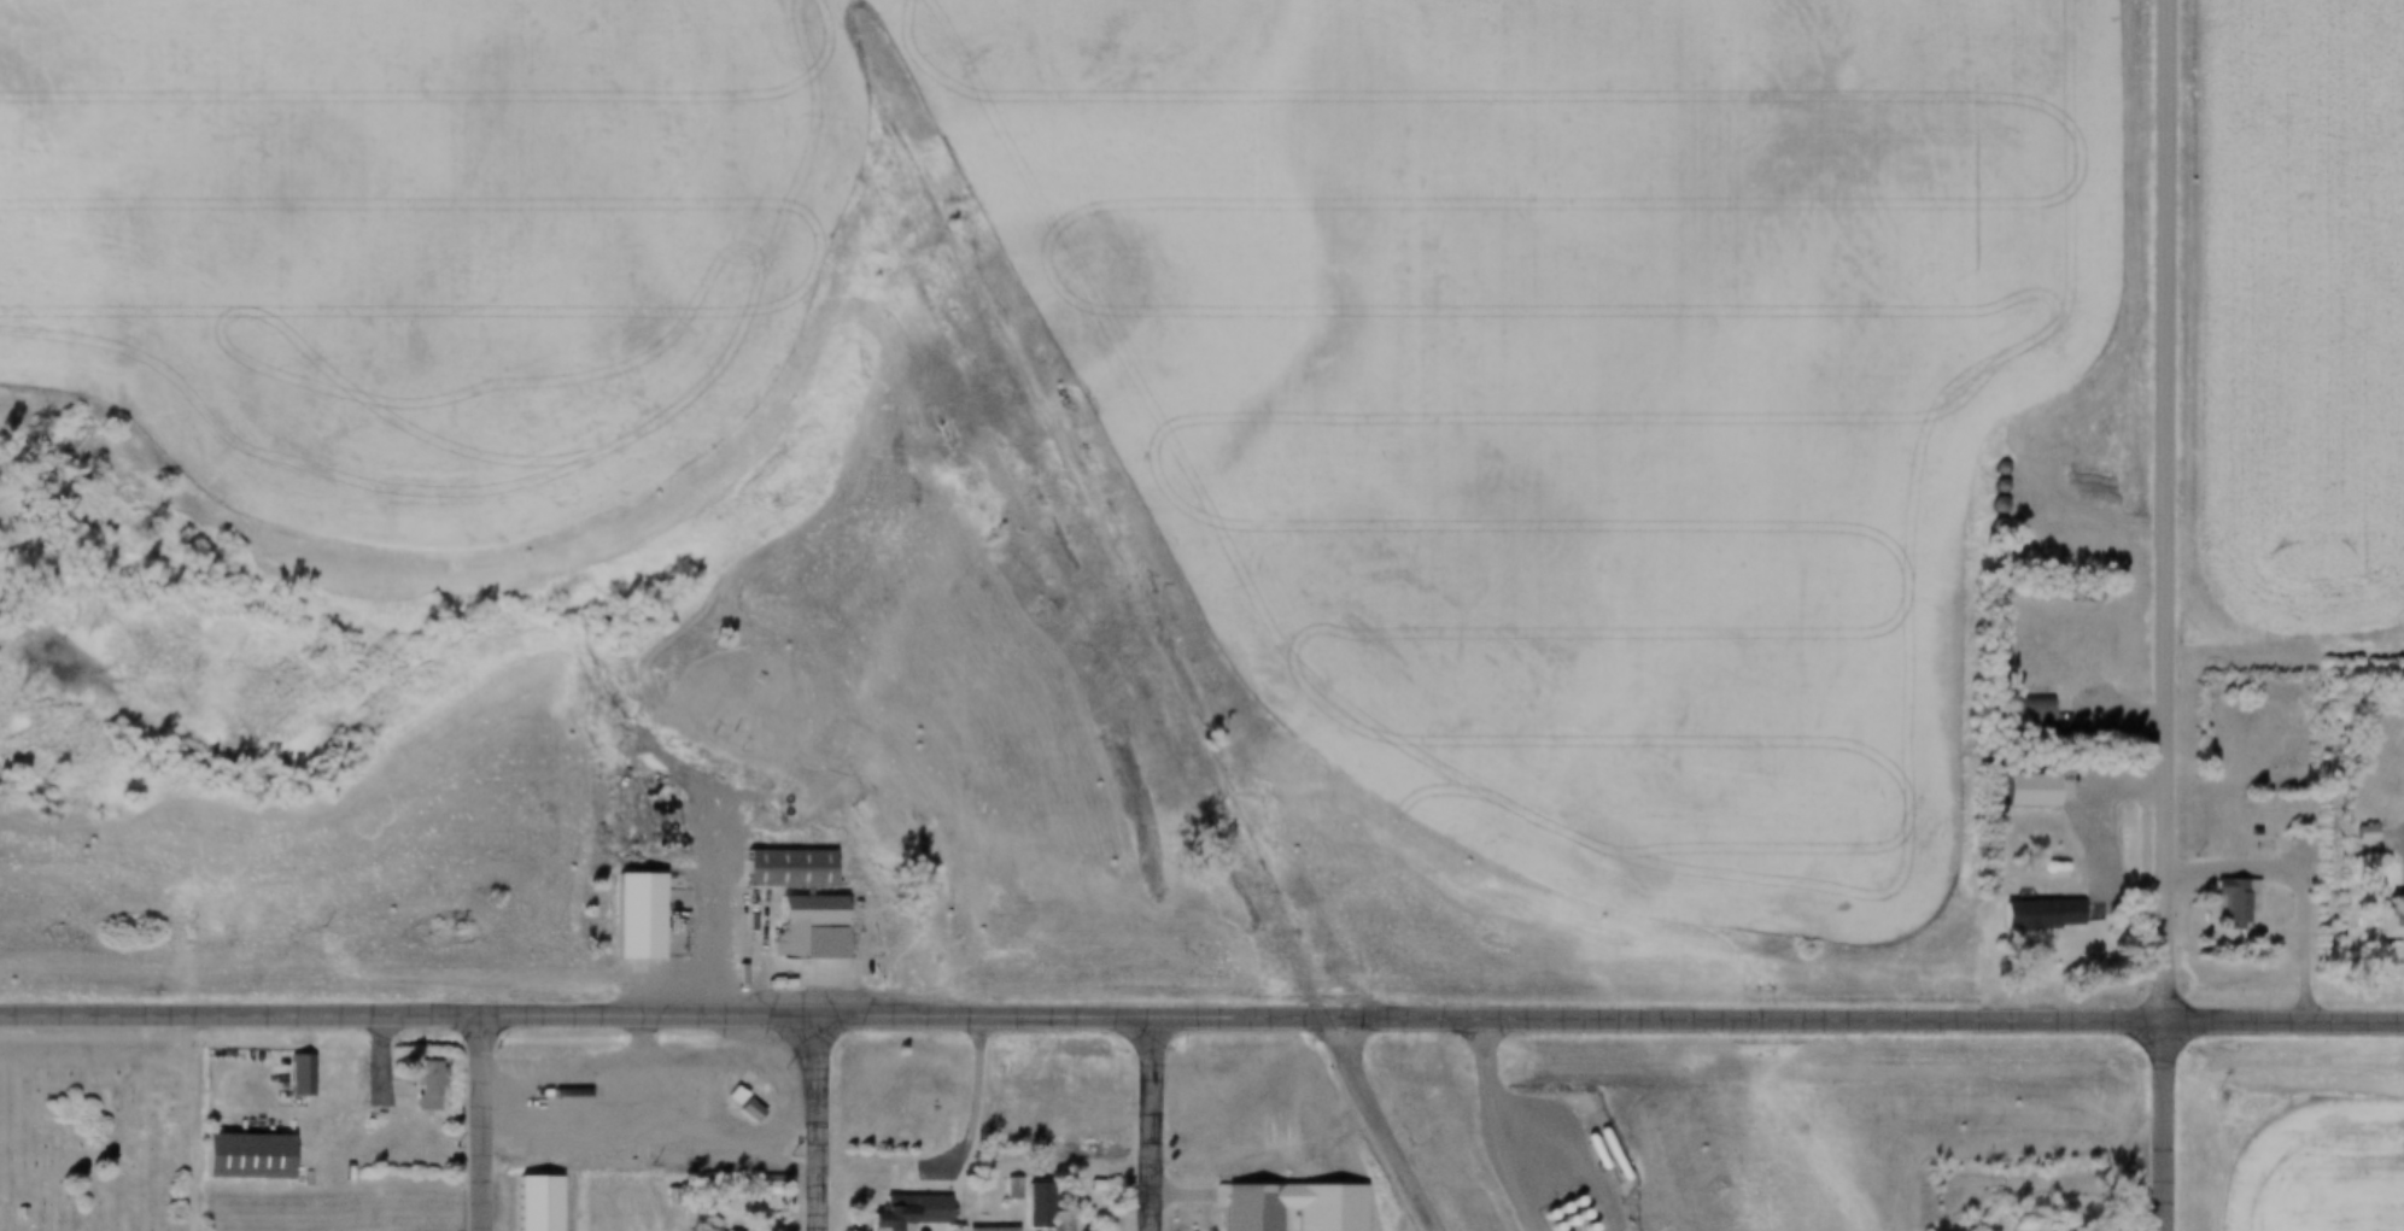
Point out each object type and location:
building: (1989, 469)
silo: (1989, 469)
building: (1988, 486)
silo: (1988, 486)
building: (1987, 505)
silo: (1987, 505)
road: (2171, 508)
building: (1985, 524)
silo: (1985, 524)
building: (2063, 594)
silo: (2063, 594)
building: (2081, 594)
silo: (2081, 594)
park: (794, 606)
building: (1988, 652)
silo: (1988, 652)
building: (1987, 672)
silo: (1987, 672)
building: (747, 679)
building: (2017, 708)
building: (2014, 792)
building: (2361, 831)
building: (2353, 834)
road: (2391, 836)
building: (2049, 861)
building: (773, 872)
road: (707, 892)
building: (2225, 902)
building: (2198, 910)
building: (2026, 915)
building: (621, 920)
building: (2383, 921)
building: (796, 930)
road: (68, 1009)
road: (1270, 1012)
building: (289, 1077)
building: (694, 1080)
silo: (694, 1080)
building: (708, 1080)
silo: (708, 1080)
building: (634, 1081)
silo: (634, 1081)
building: (649, 1081)
silo: (649, 1081)
building: (665, 1081)
silo: (665, 1081)
building: (679, 1081)
silo: (679, 1081)
building: (603, 1083)
silo: (603, 1083)
building: (619, 1083)
silo: (619, 1083)
building: (411, 1089)
building: (733, 1106)
road: (486, 1120)
road: (819, 1120)
road: (973, 1120)
road: (1159, 1120)
road: (1369, 1124)
road: (2171, 1124)
building: (357, 1125)
road: (1491, 1125)
park: (96, 1141)
building: (926, 1145)
road: (1568, 1148)
storage tank: (1585, 1153)
building: (632, 1154)
silo: (632, 1154)
building: (691, 1154)
silo: (691, 1154)
building: (708, 1154)
silo: (708, 1154)
building: (591, 1156)
silo: (591, 1156)
building: (607, 1156)
silo: (607, 1156)
building: (645, 1156)
silo: (645, 1156)
building: (240, 1159)
storage tank: (1546, 1168)
storage tank: (1551, 1177)
storage tank: (1540, 1182)
storage tank: (1531, 1186)
building: (1001, 1190)
building: (1011, 1190)
storage tank: (1521, 1191)
building: (1539, 1195)
storage tank: (1564, 1201)
building: (532, 1203)
storage tank: (1551, 1207)
building: (1239, 1208)
building: (12, 1213)
building: (881, 1214)
storage tank: (1538, 1214)
storage tank: (1572, 1214)
building: (1061, 1220)
storage tank: (1557, 1220)
building: (1048, 1221)
storage tank: (1544, 1226)
storage tank: (1578, 1227)
building: (978, 1230)

